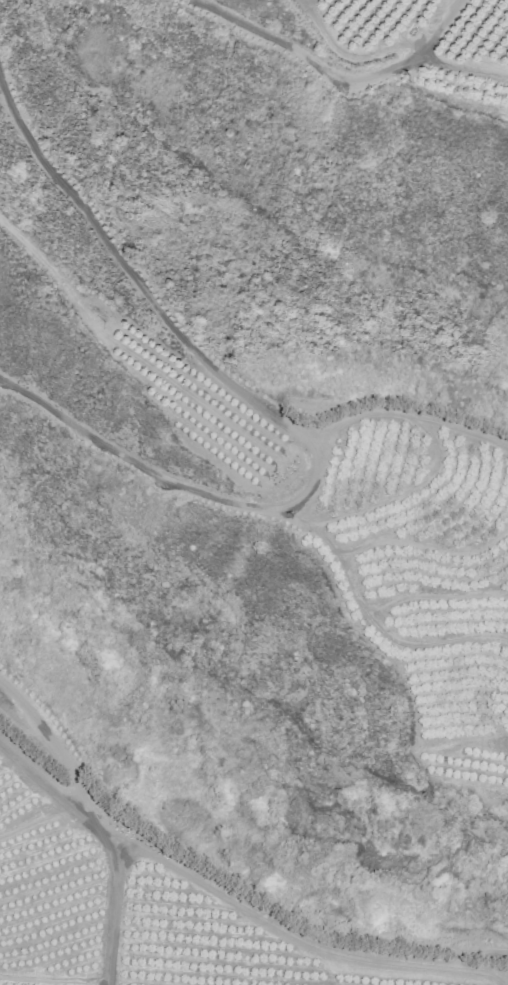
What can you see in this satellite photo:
road: (345, 54)
road: (459, 71)
road: (331, 75)
road: (404, 421)
road: (275, 424)
road: (406, 502)
road: (425, 554)
road: (436, 604)
road: (373, 628)
road: (505, 747)
road: (464, 749)
road: (35, 777)
road: (92, 816)
road: (34, 822)
road: (288, 937)
road: (470, 949)
road: (54, 979)

